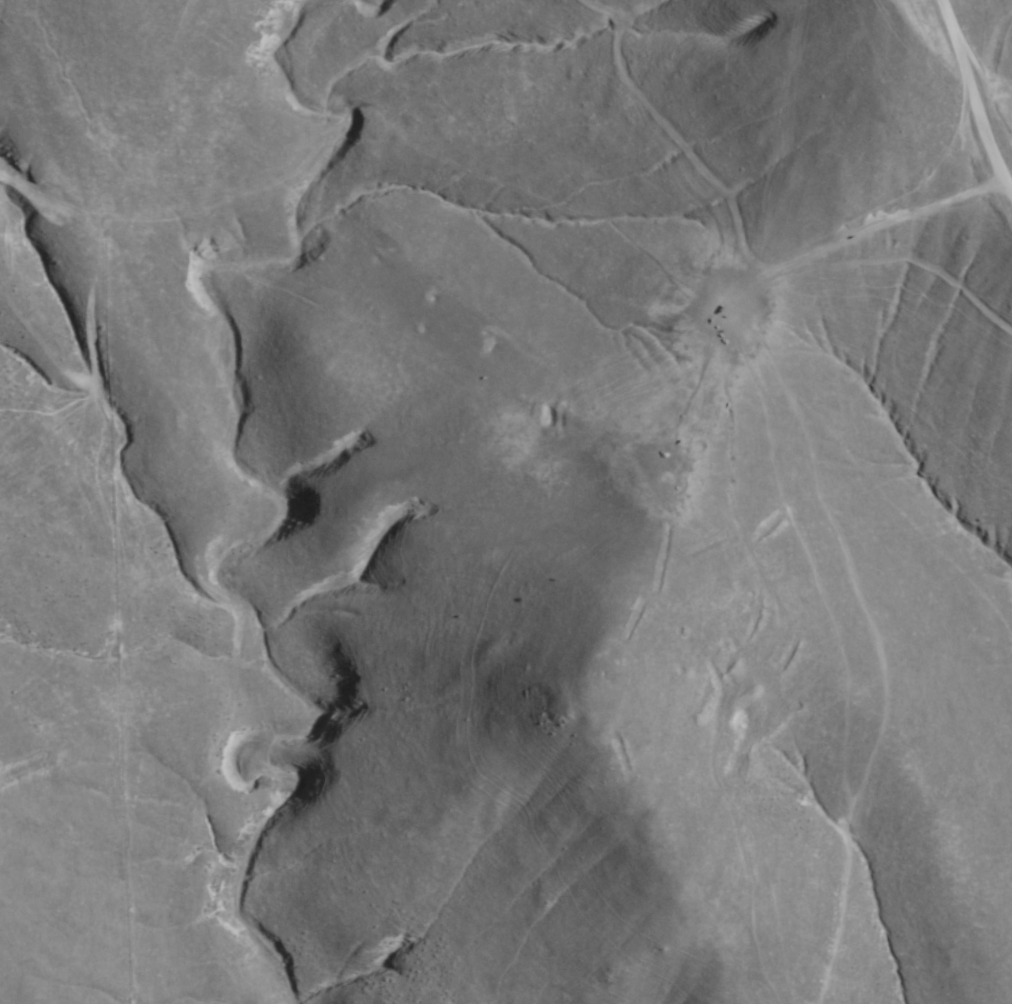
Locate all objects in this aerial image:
road: (967, 102)
road: (749, 232)

